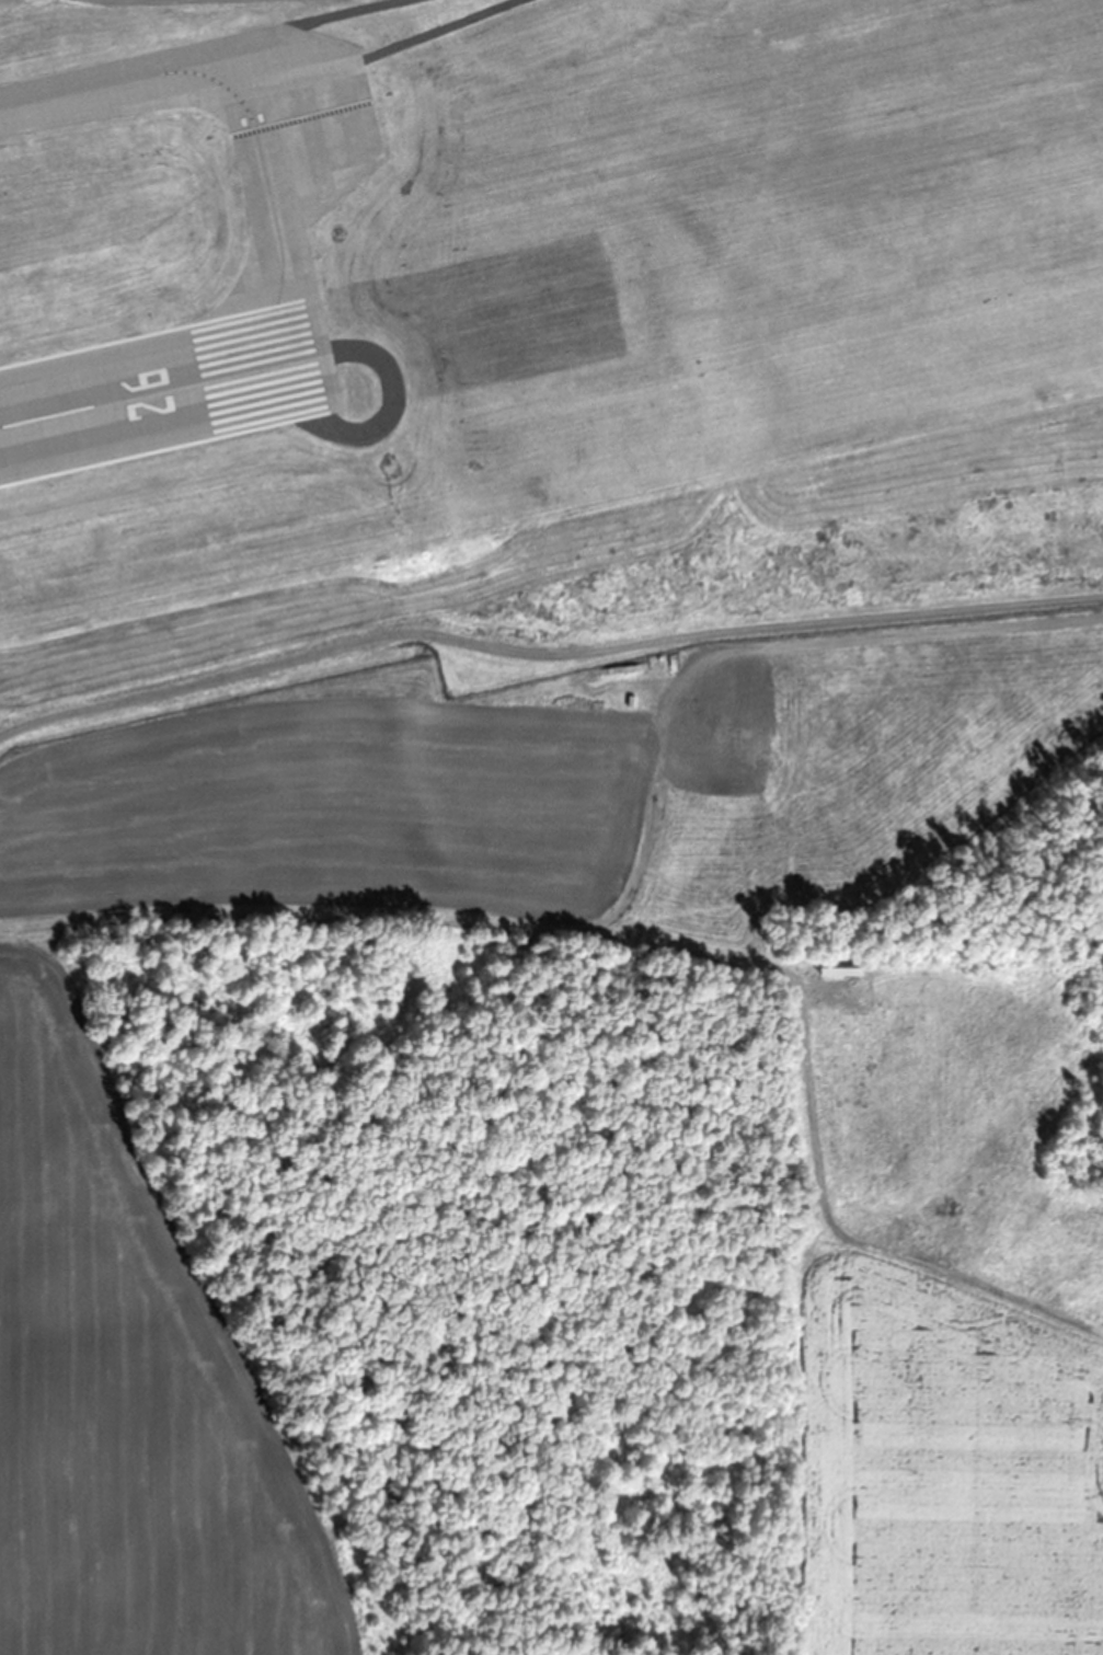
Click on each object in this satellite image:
airport taxiway: (244, 104)
building: (0, 119)
building: (318, 372)
airport runway: (164, 388)
airport: (496, 759)
building: (845, 970)

